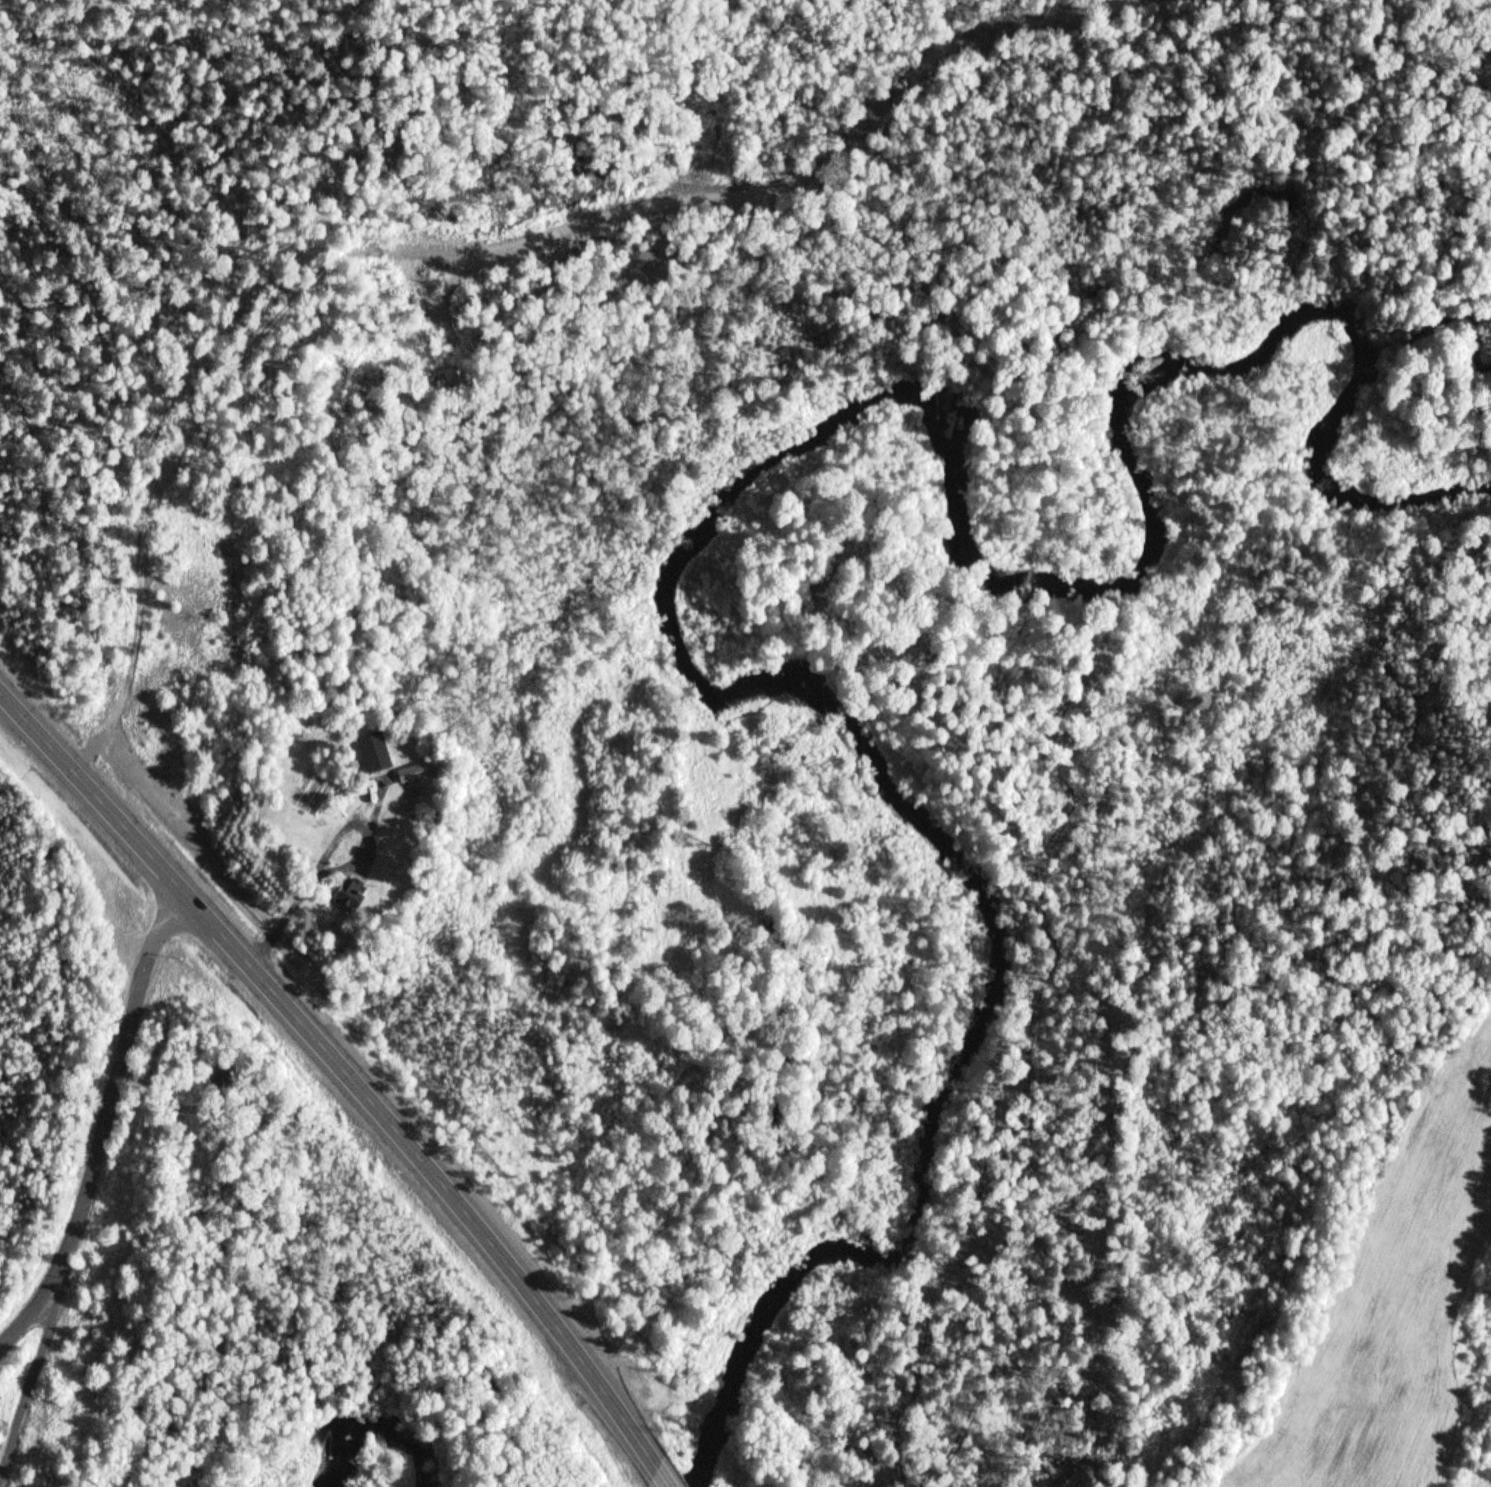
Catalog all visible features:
river: (740, 522)
building: (300, 718)
building: (374, 749)
building: (413, 772)
road: (89, 787)
building: (349, 894)
building: (218, 1074)
road: (105, 1122)
road: (427, 1167)
road: (29, 1380)
river: (372, 1439)
road: (662, 1477)

